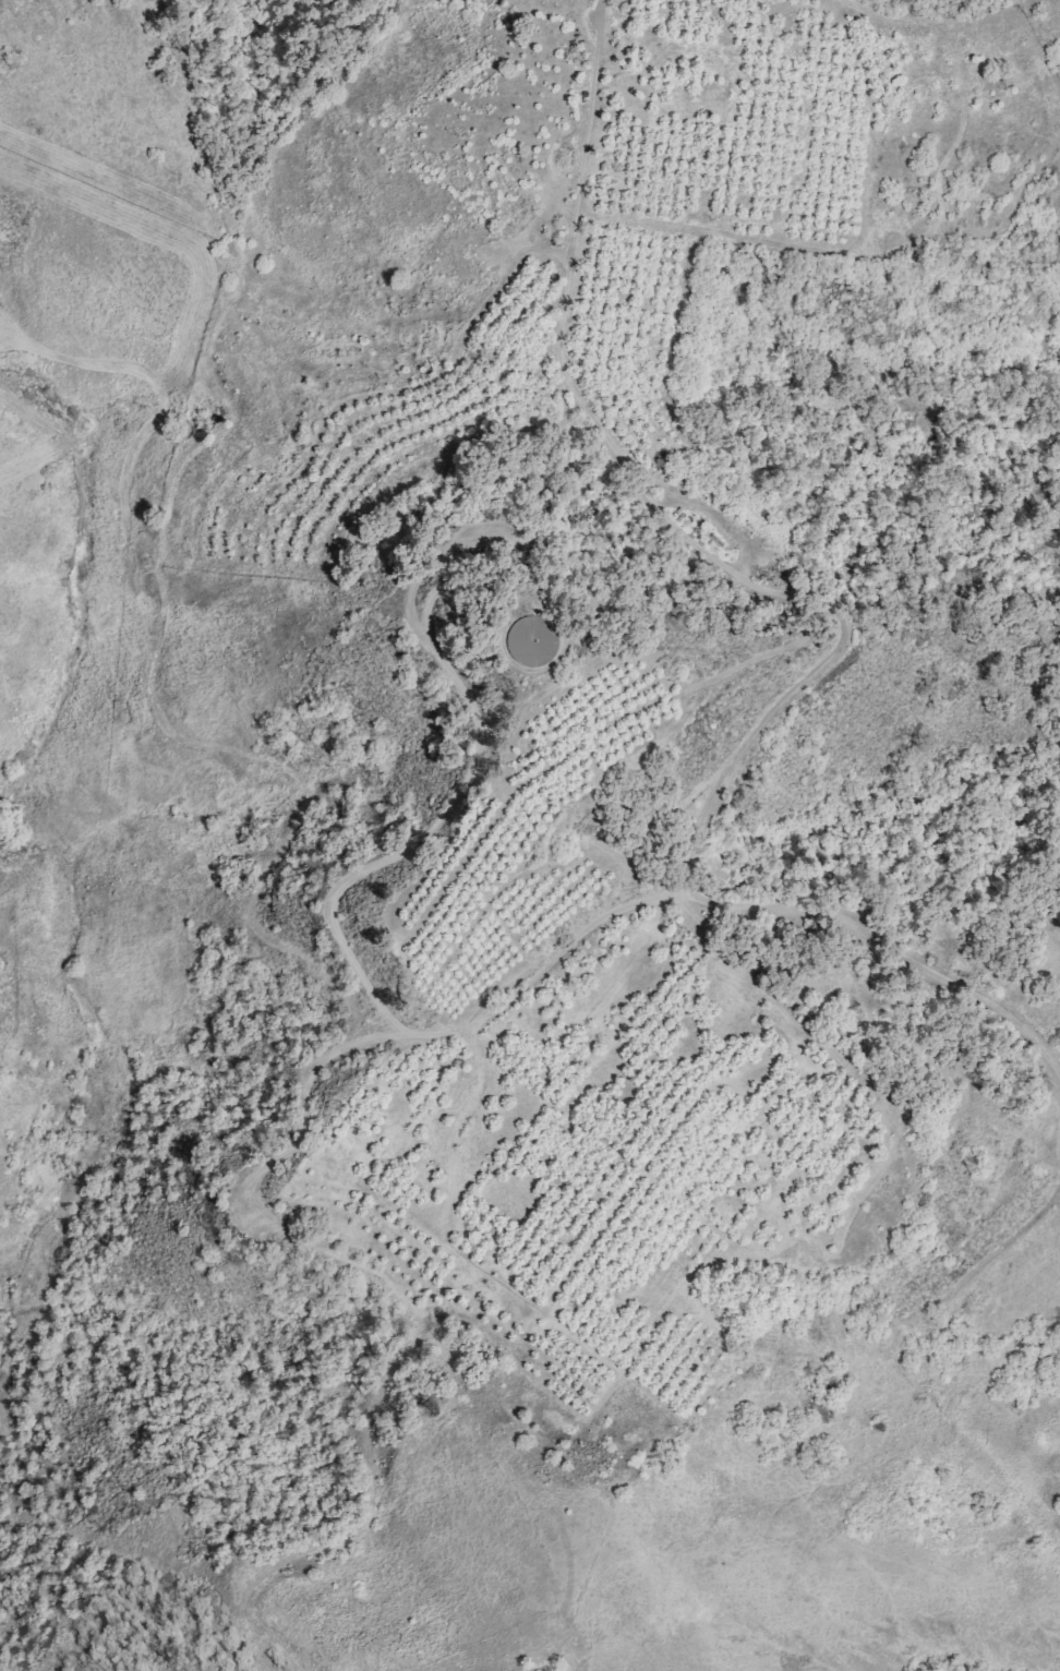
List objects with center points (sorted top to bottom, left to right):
road: (131, 211)
road: (697, 513)
road: (285, 830)
road: (434, 830)
road: (410, 1313)

